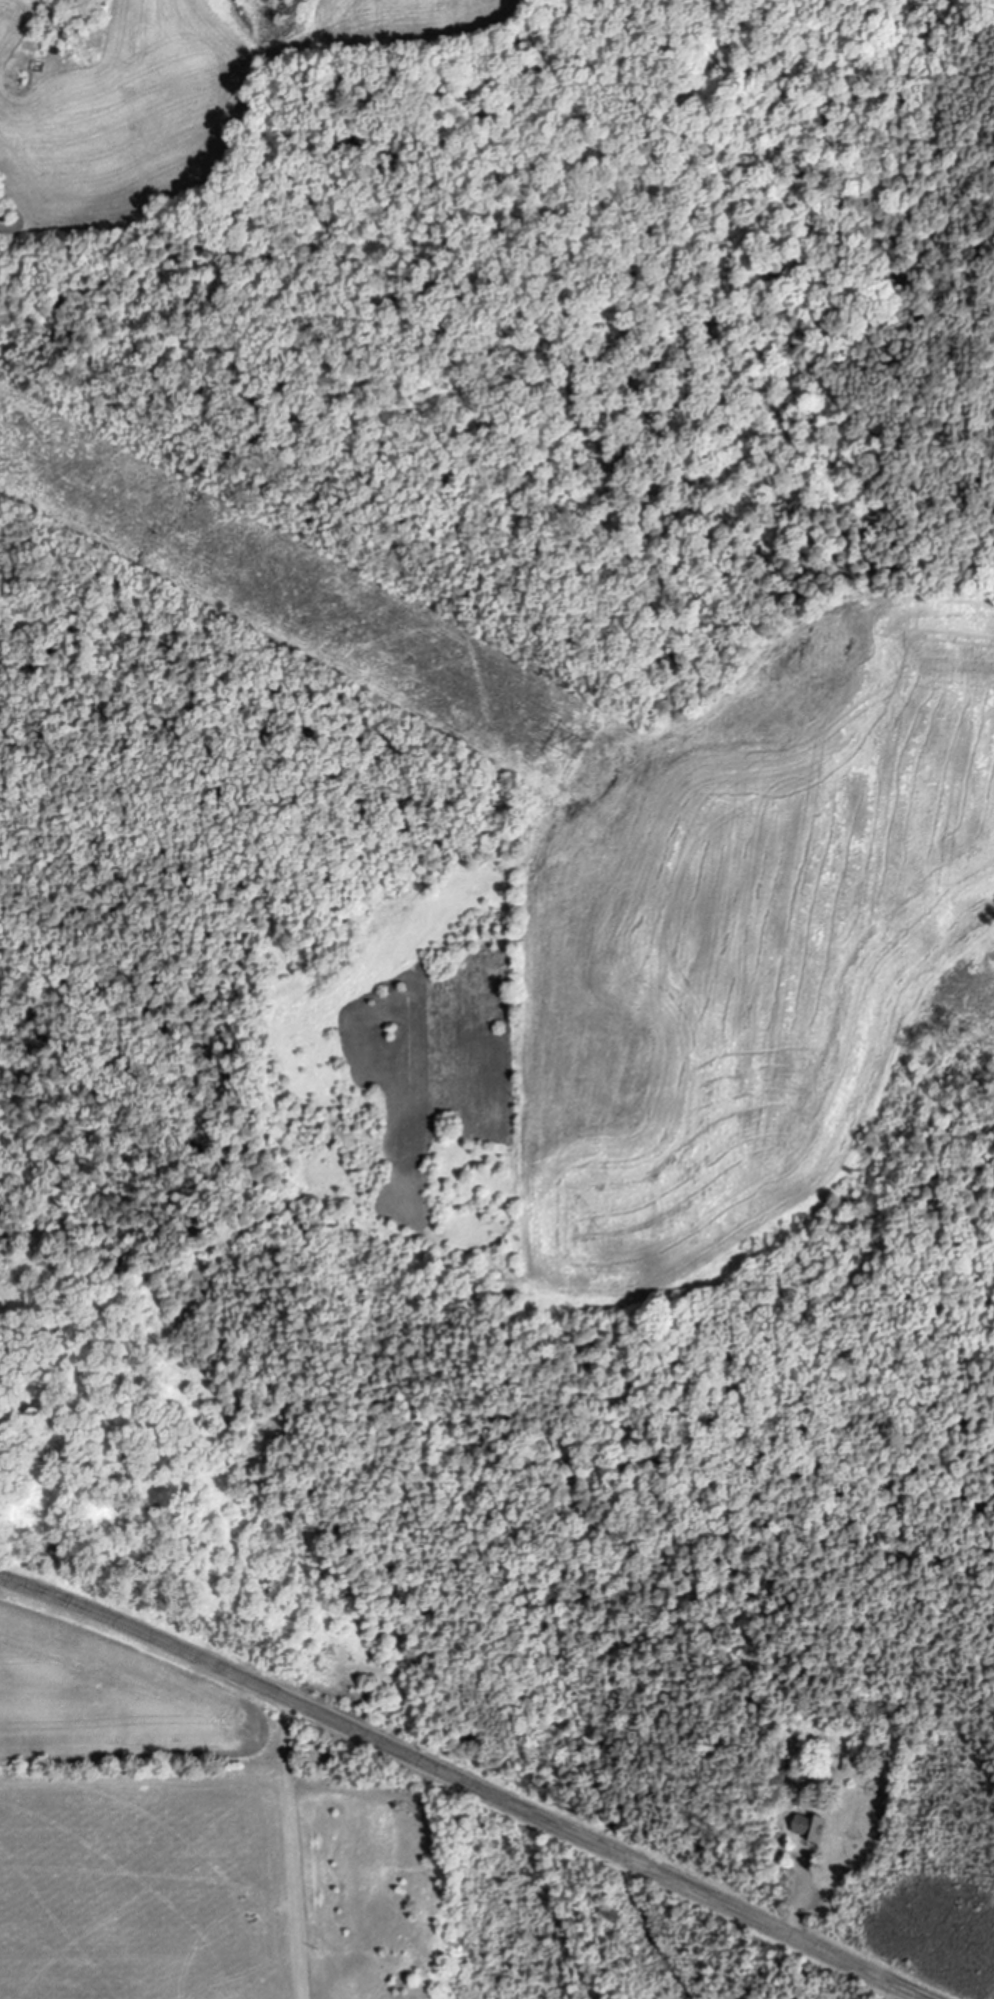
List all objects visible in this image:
power tower: (580, 747)
road: (467, 1780)
building: (807, 1827)
road: (294, 1846)
road: (802, 1906)

